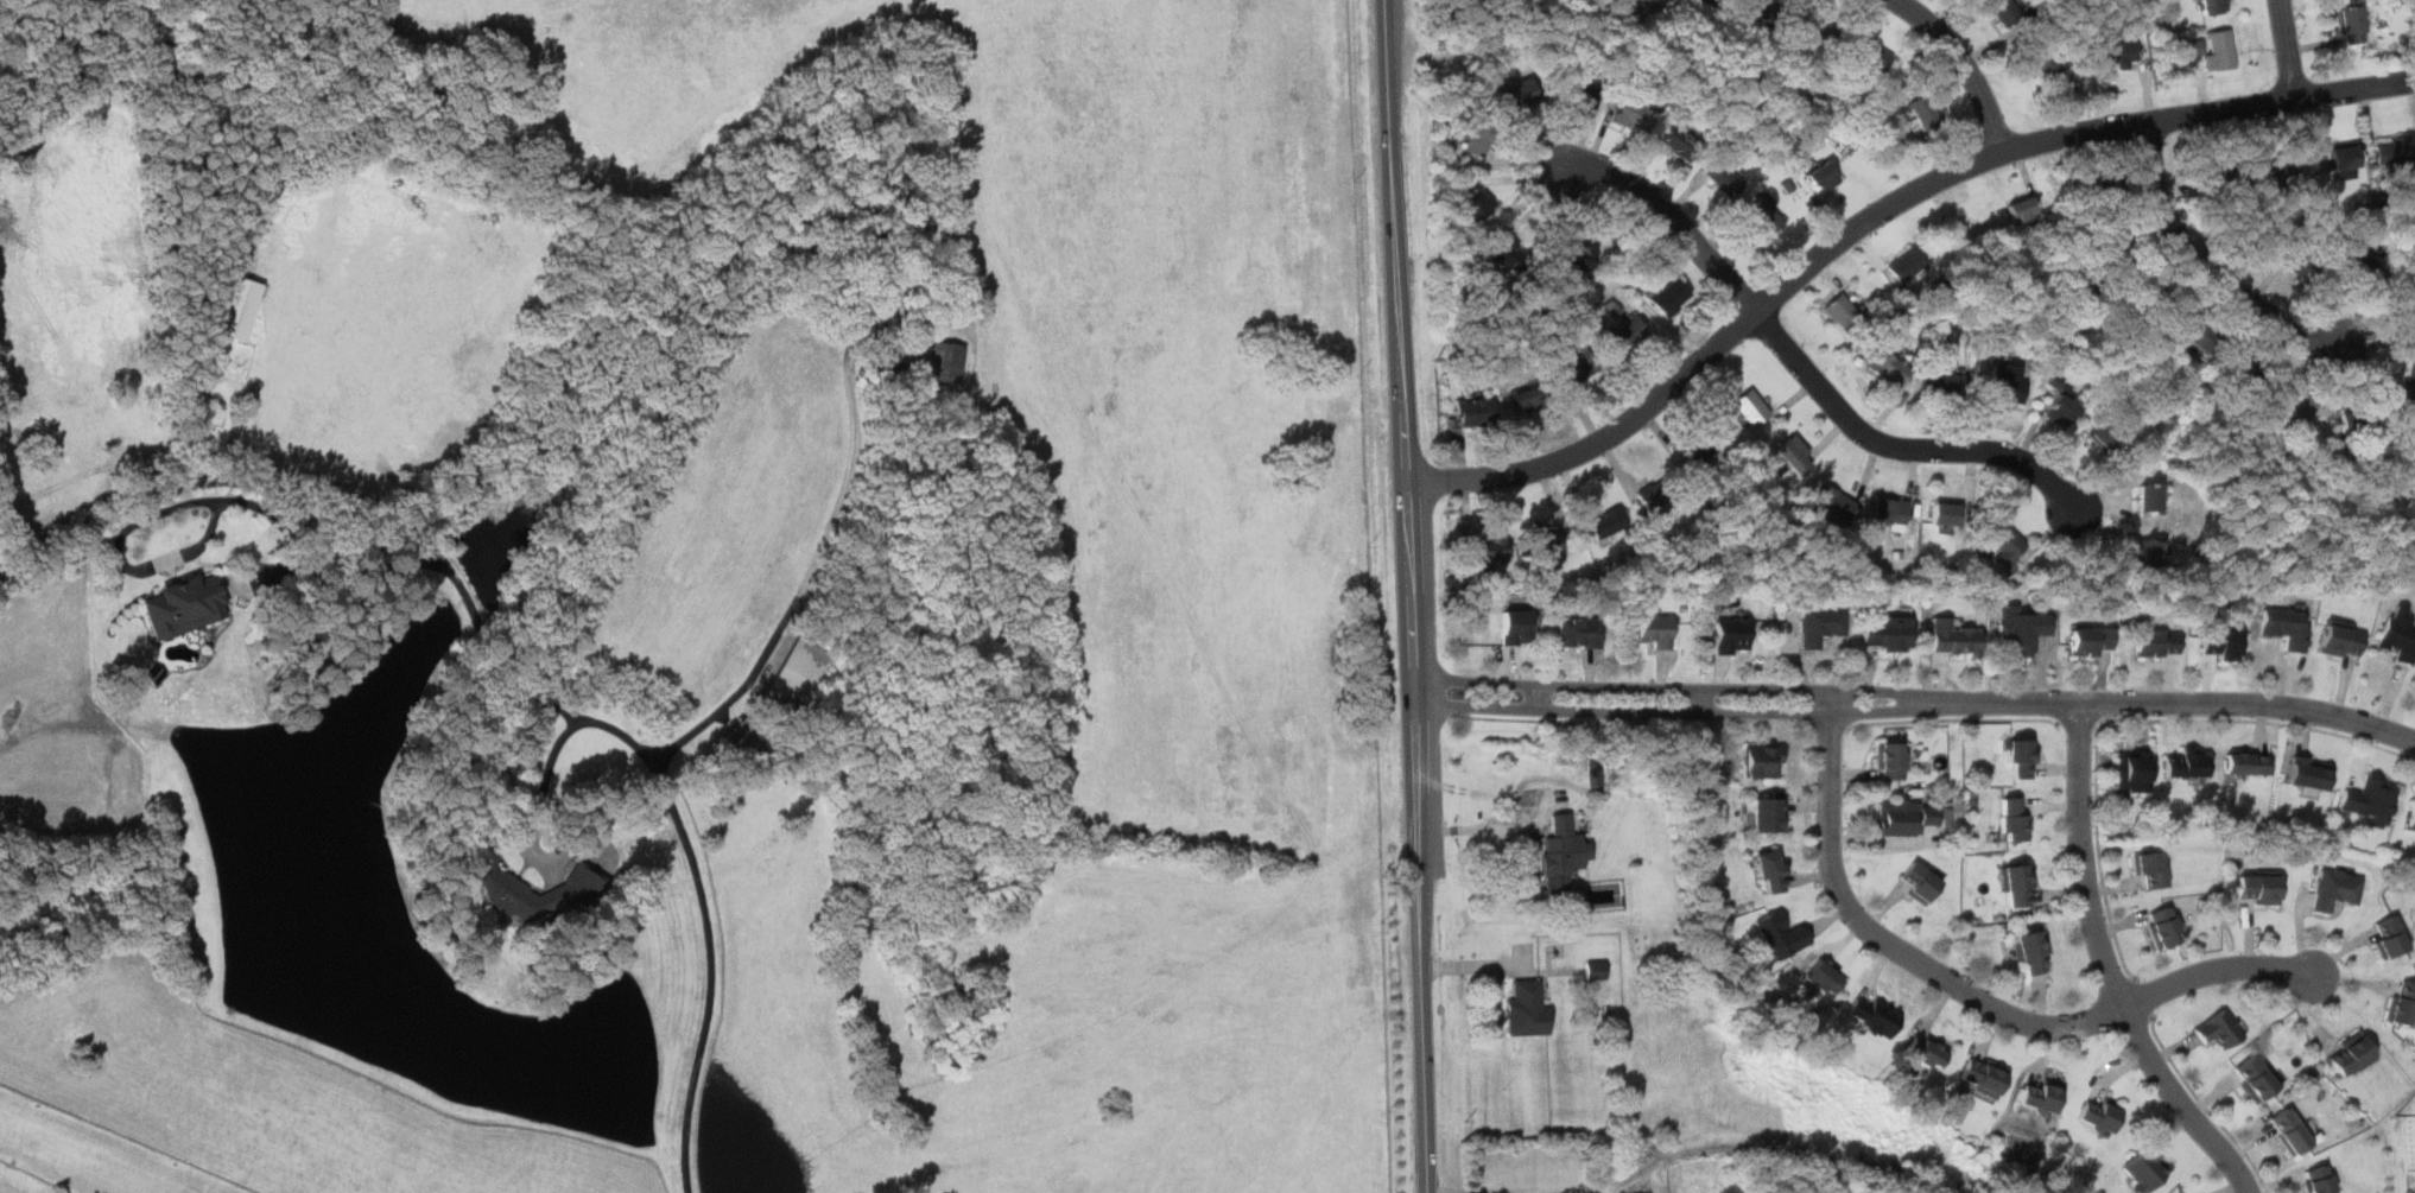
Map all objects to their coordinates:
building: (1713, 0)
building: (2213, 6)
building: (1762, 9)
building: (2004, 11)
building: (2352, 24)
building: (1815, 32)
building: (2122, 49)
building: (2212, 49)
road: (2284, 49)
building: (1870, 53)
road: (1966, 62)
building: (2048, 64)
road: (2351, 88)
building: (1517, 94)
building: (1582, 94)
building: (1922, 112)
building: (1634, 113)
building: (1477, 141)
building: (1680, 142)
building: (2395, 150)
building: (2333, 161)
building: (2268, 166)
building: (2212, 170)
building: (1823, 177)
building: (1725, 179)
building: (2096, 190)
building: (1476, 203)
building: (2023, 210)
road: (1666, 215)
building: (1764, 216)
building: (2115, 249)
road: (1827, 252)
building: (1509, 253)
building: (1577, 255)
building: (2295, 262)
building: (1907, 264)
building: (2363, 266)
road: (2211, 275)
building: (2140, 292)
building: (2409, 297)
building: (1672, 298)
building: (239, 307)
building: (1842, 310)
building: (1628, 330)
building: (2198, 334)
road: (1403, 345)
building: (947, 361)
building: (2245, 364)
building: (1578, 367)
building: (1891, 367)
building: (889, 372)
building: (1945, 383)
building: (2005, 385)
building: (2409, 385)
building: (1528, 398)
building: (2297, 405)
building: (1750, 407)
building: (2061, 410)
building: (1475, 412)
building: (2357, 420)
building: (2104, 437)
building: (1698, 448)
road: (1902, 450)
building: (1794, 453)
building: (1652, 497)
building: (2148, 499)
building: (1832, 502)
building: (1890, 513)
building: (1945, 513)
building: (1606, 522)
building: (2007, 544)
building: (1548, 545)
building: (1489, 551)
building: (2145, 553)
building: (262, 575)
road: (809, 578)
airport: (686, 598)
building: (185, 605)
building: (1820, 623)
building: (2286, 626)
building: (1515, 628)
building: (1655, 628)
building: (2020, 629)
building: (1884, 630)
building: (1579, 632)
building: (2398, 634)
building: (1731, 636)
building: (1954, 637)
building: (2341, 639)
building: (2091, 641)
building: (2156, 642)
building: (2221, 642)
building: (797, 677)
road: (1433, 693)
road: (1934, 704)
road: (1954, 718)
road: (2081, 721)
road: (2262, 721)
road: (1635, 722)
road: (1825, 725)
building: (744, 738)
road: (632, 748)
road: (554, 754)
building: (2020, 759)
building: (1890, 760)
building: (1762, 761)
building: (2186, 762)
building: (2246, 762)
building: (2132, 772)
building: (2308, 772)
building: (2370, 799)
building: (1768, 813)
building: (1904, 816)
building: (2411, 817)
building: (2014, 818)
road: (1479, 829)
building: (1563, 852)
road: (2098, 852)
building: (2150, 869)
building: (1770, 871)
building: (1920, 881)
building: (2017, 884)
building: (501, 886)
building: (2258, 886)
building: (2335, 889)
building: (2162, 926)
building: (1780, 934)
building: (2390, 938)
road: (1424, 943)
building: (2031, 952)
building: (1596, 969)
road: (2109, 970)
building: (1824, 977)
road: (2144, 997)
road: (1980, 998)
building: (2403, 1003)
building: (1526, 1010)
building: (1871, 1016)
building: (2219, 1029)
building: (1926, 1049)
building: (2350, 1054)
building: (1982, 1075)
building: (2256, 1077)
building: (2039, 1097)
road: (2207, 1106)
building: (2100, 1116)
building: (2289, 1131)
airport runway: (88, 1155)
building: (2142, 1168)
building: (2320, 1180)
road: (1453, 1191)
road: (1604, 1191)

